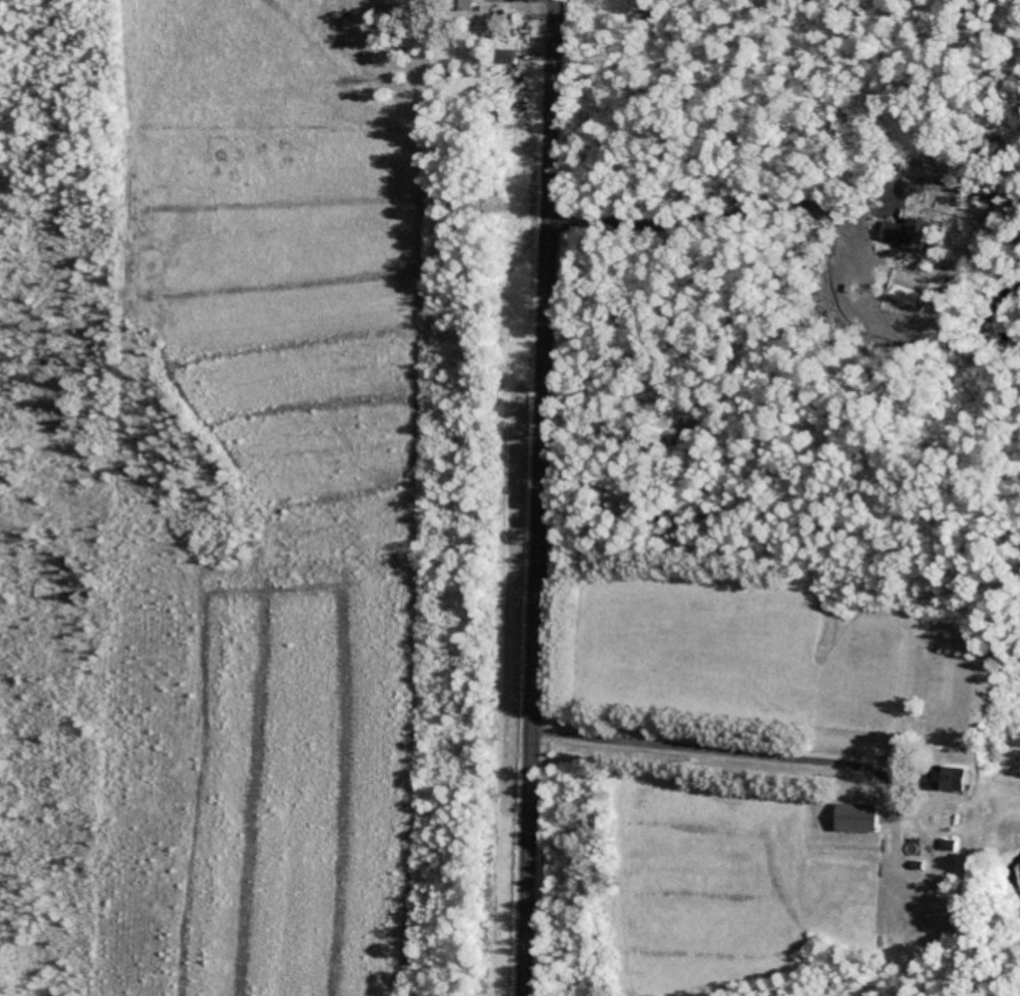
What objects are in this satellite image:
building: (461, 6)
building: (504, 59)
building: (917, 237)
road: (542, 498)
building: (949, 780)
building: (857, 820)

